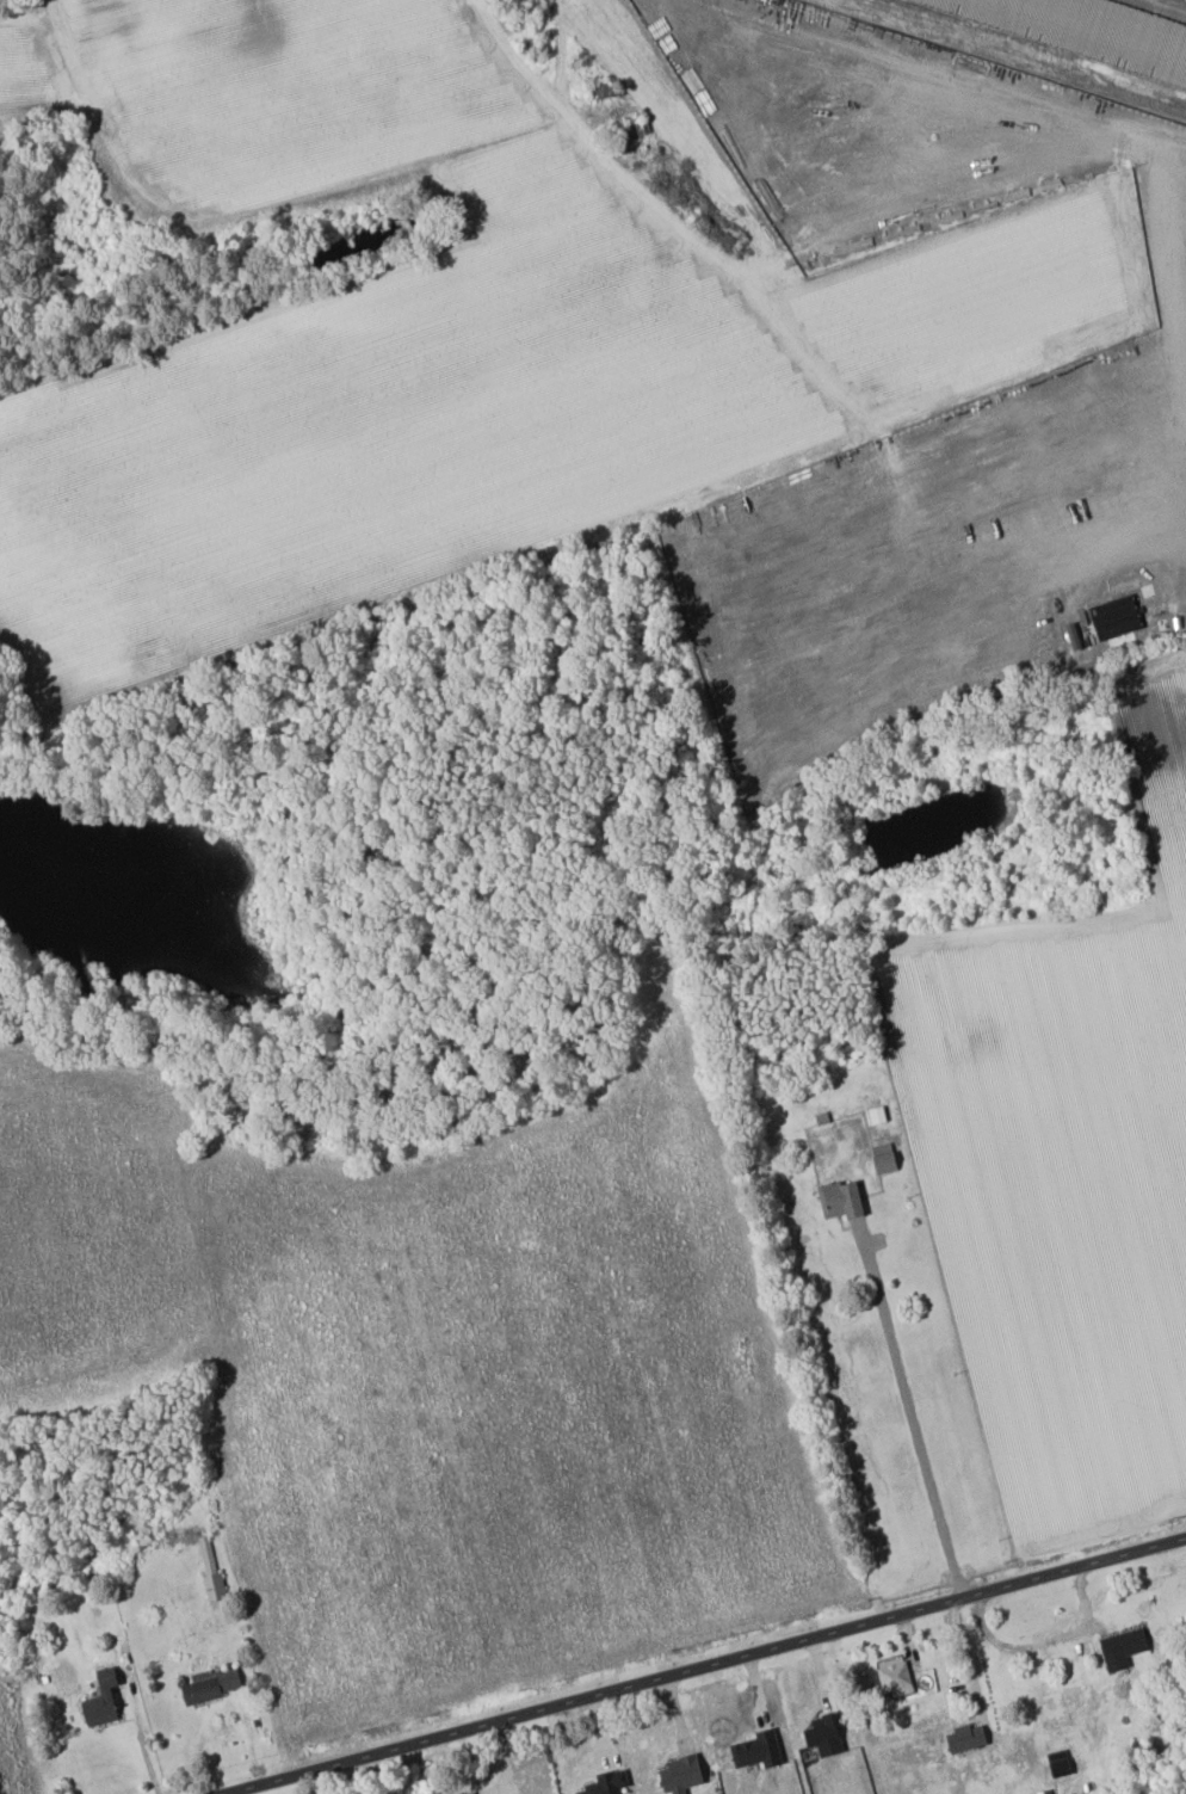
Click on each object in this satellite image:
road: (1180, 456)
building: (875, 1115)
building: (882, 1158)
building: (839, 1198)
road: (498, 1253)
road: (320, 1357)
road: (913, 1424)
building: (209, 1568)
building: (1120, 1647)
road: (1019, 1652)
road: (711, 1665)
building: (892, 1676)
building: (209, 1685)
building: (99, 1699)
building: (821, 1734)
building: (963, 1738)
road: (143, 1744)
building: (755, 1750)
building: (1056, 1763)
building: (605, 1782)

